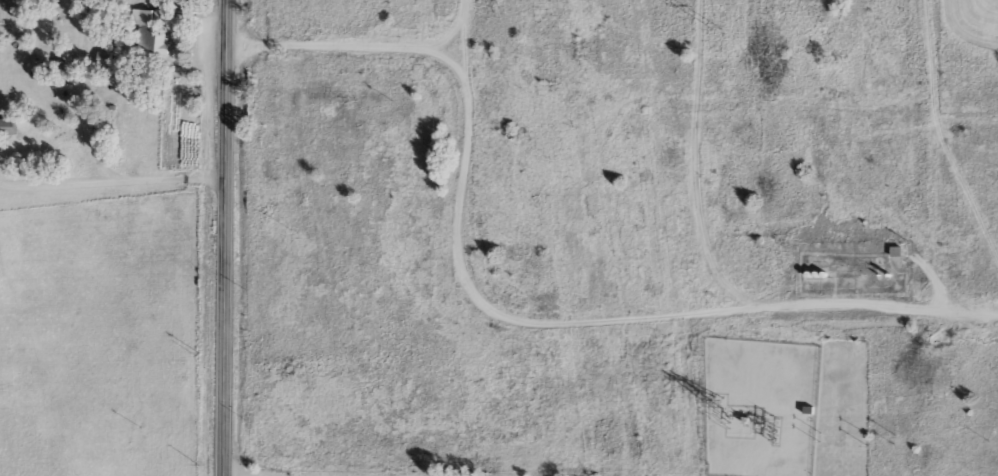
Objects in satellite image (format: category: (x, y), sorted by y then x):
building: (147, 33)
road: (83, 93)
building: (6, 125)
road: (173, 181)
road: (59, 185)
road: (226, 237)
road: (497, 317)
power substation: (760, 406)
building: (807, 409)

